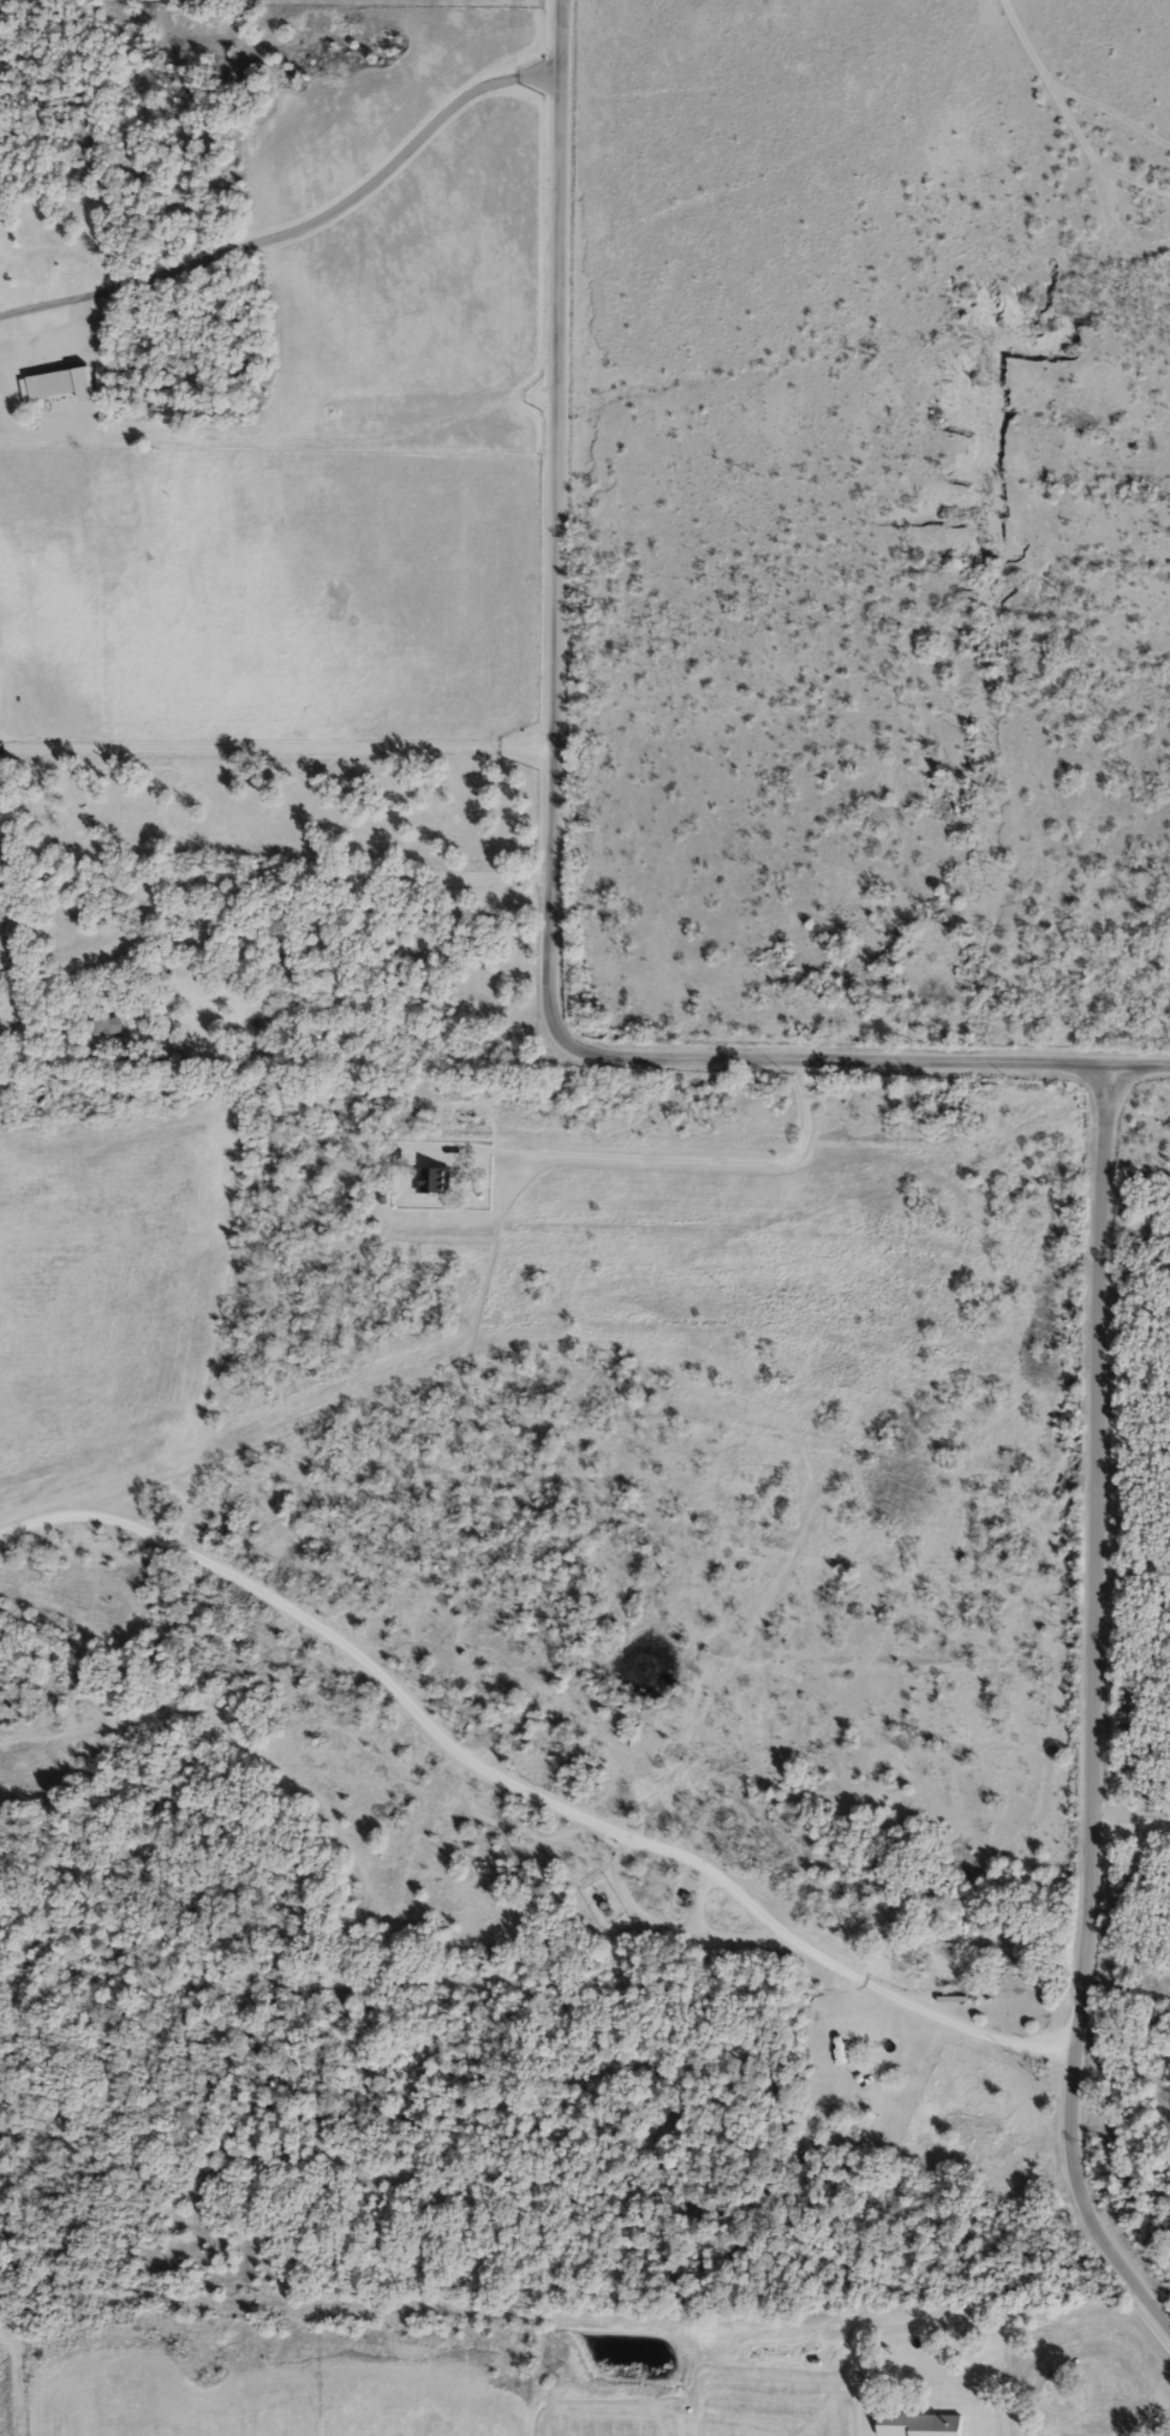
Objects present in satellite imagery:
road: (299, 227)
building: (92, 371)
road: (276, 746)
road: (551, 825)
road: (285, 878)
building: (106, 1026)
road: (696, 1158)
building: (434, 1180)
road: (1094, 1707)
road: (527, 1790)
road: (1132, 1827)
building: (850, 2010)
building: (831, 2034)
building: (966, 2125)

